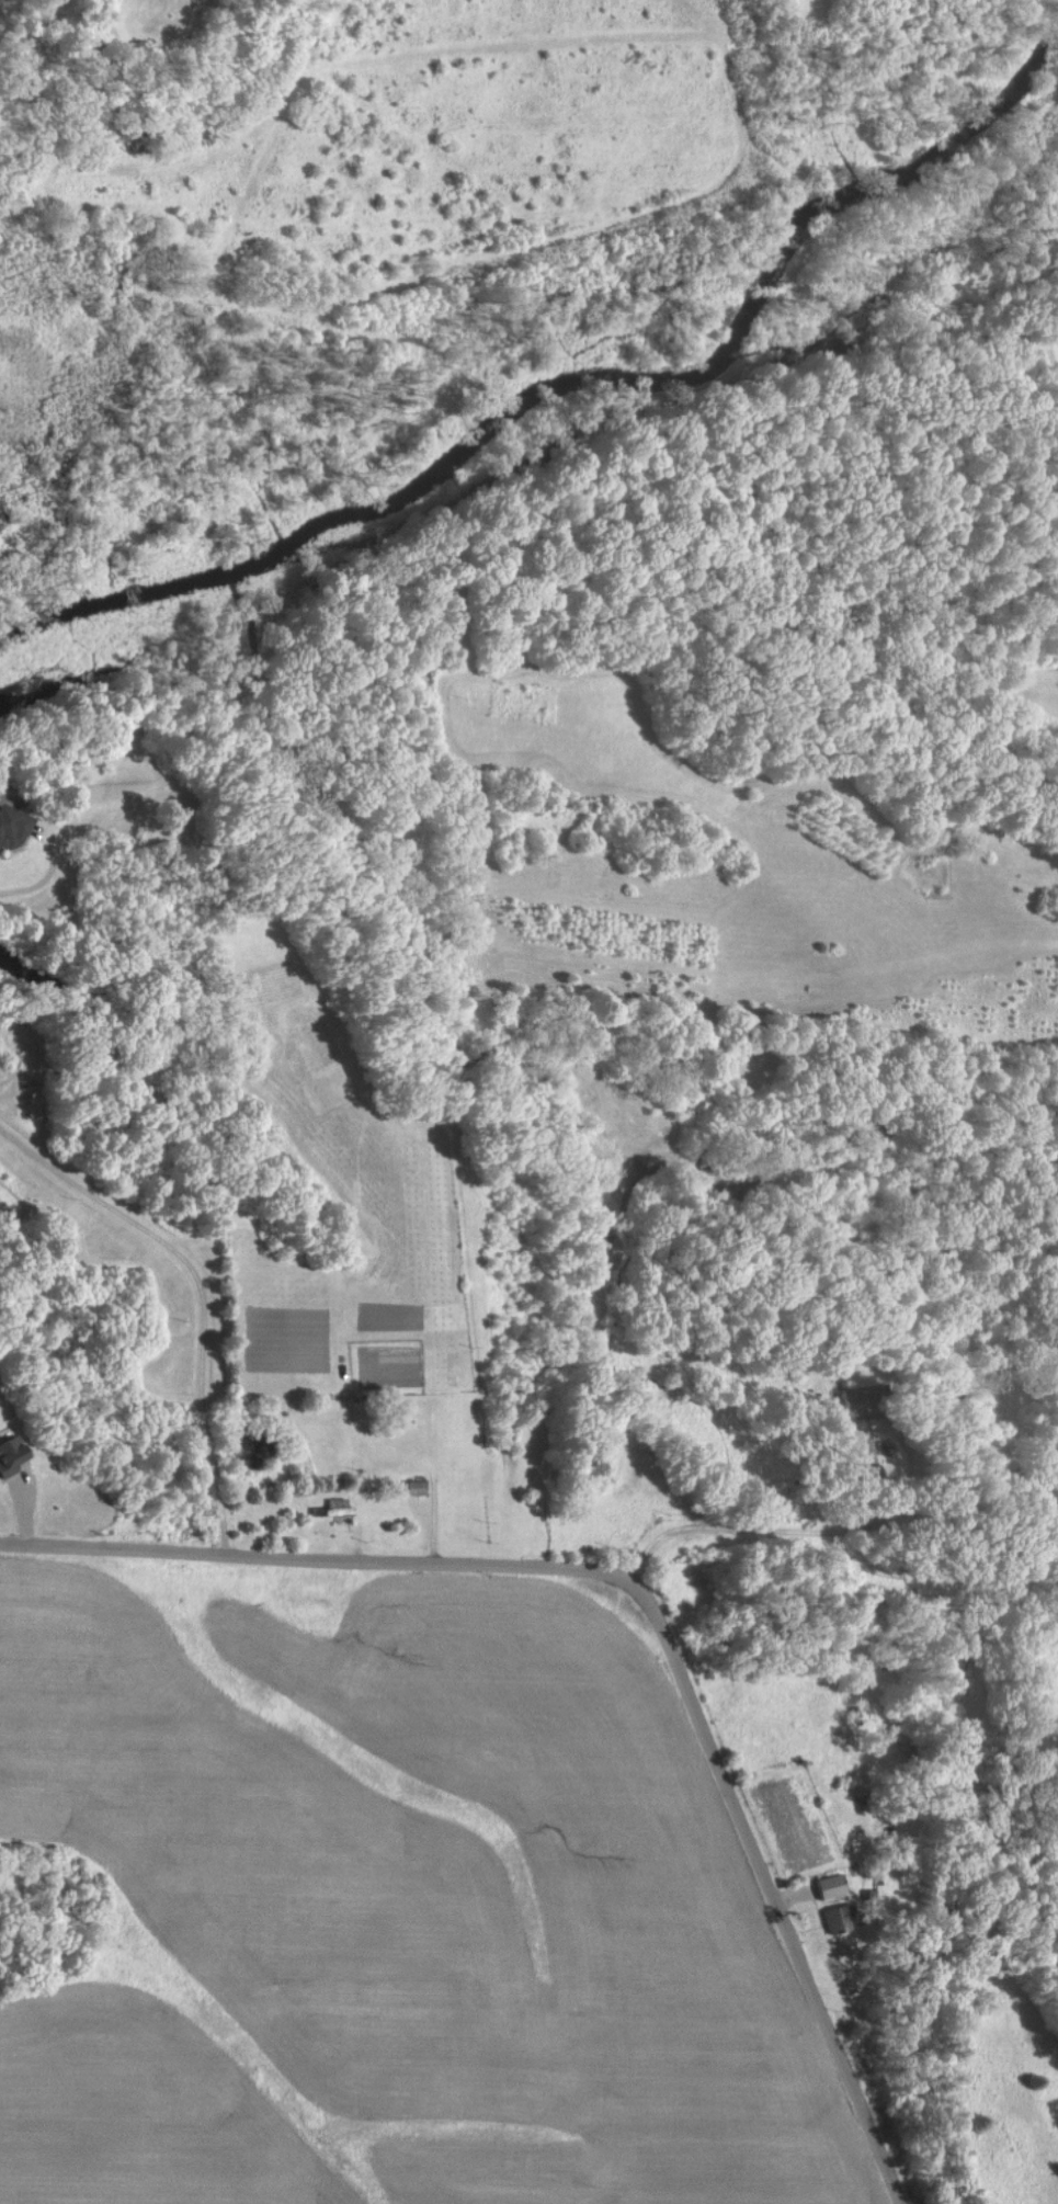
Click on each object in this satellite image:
building: (11, 826)
road: (36, 883)
road: (197, 1293)
building: (10, 1454)
road: (789, 1527)
road: (298, 1555)
road: (766, 1872)
building: (829, 1885)
building: (834, 1918)

